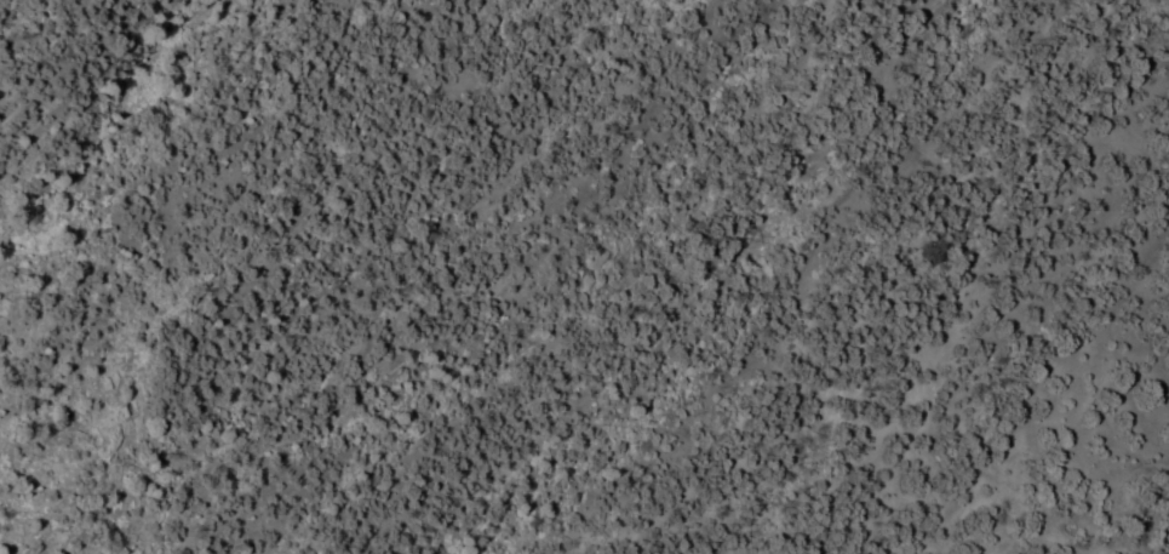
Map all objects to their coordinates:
road: (964, 267)

